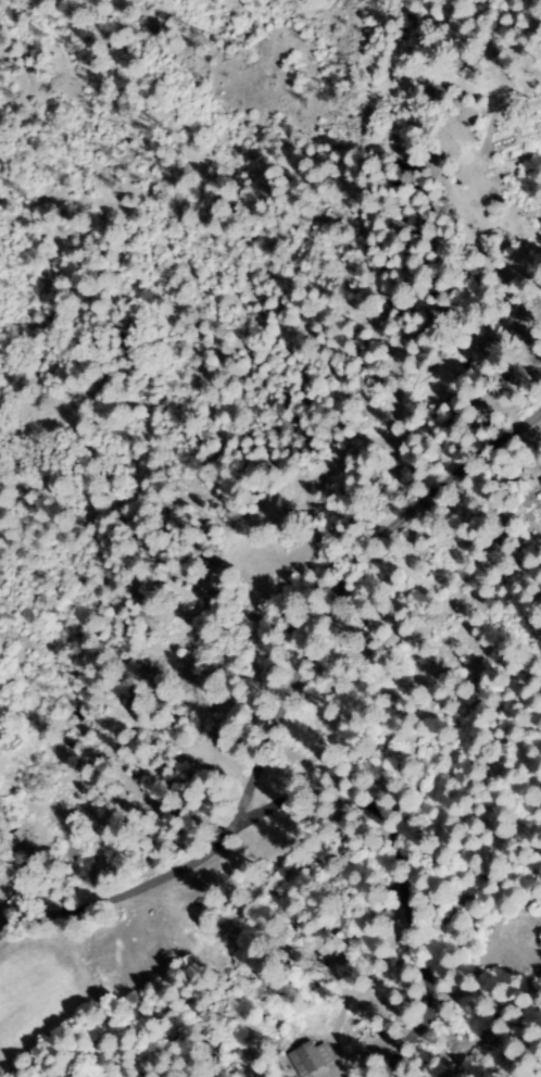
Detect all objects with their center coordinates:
building: (540, 480)
road: (285, 710)
building: (312, 1059)

